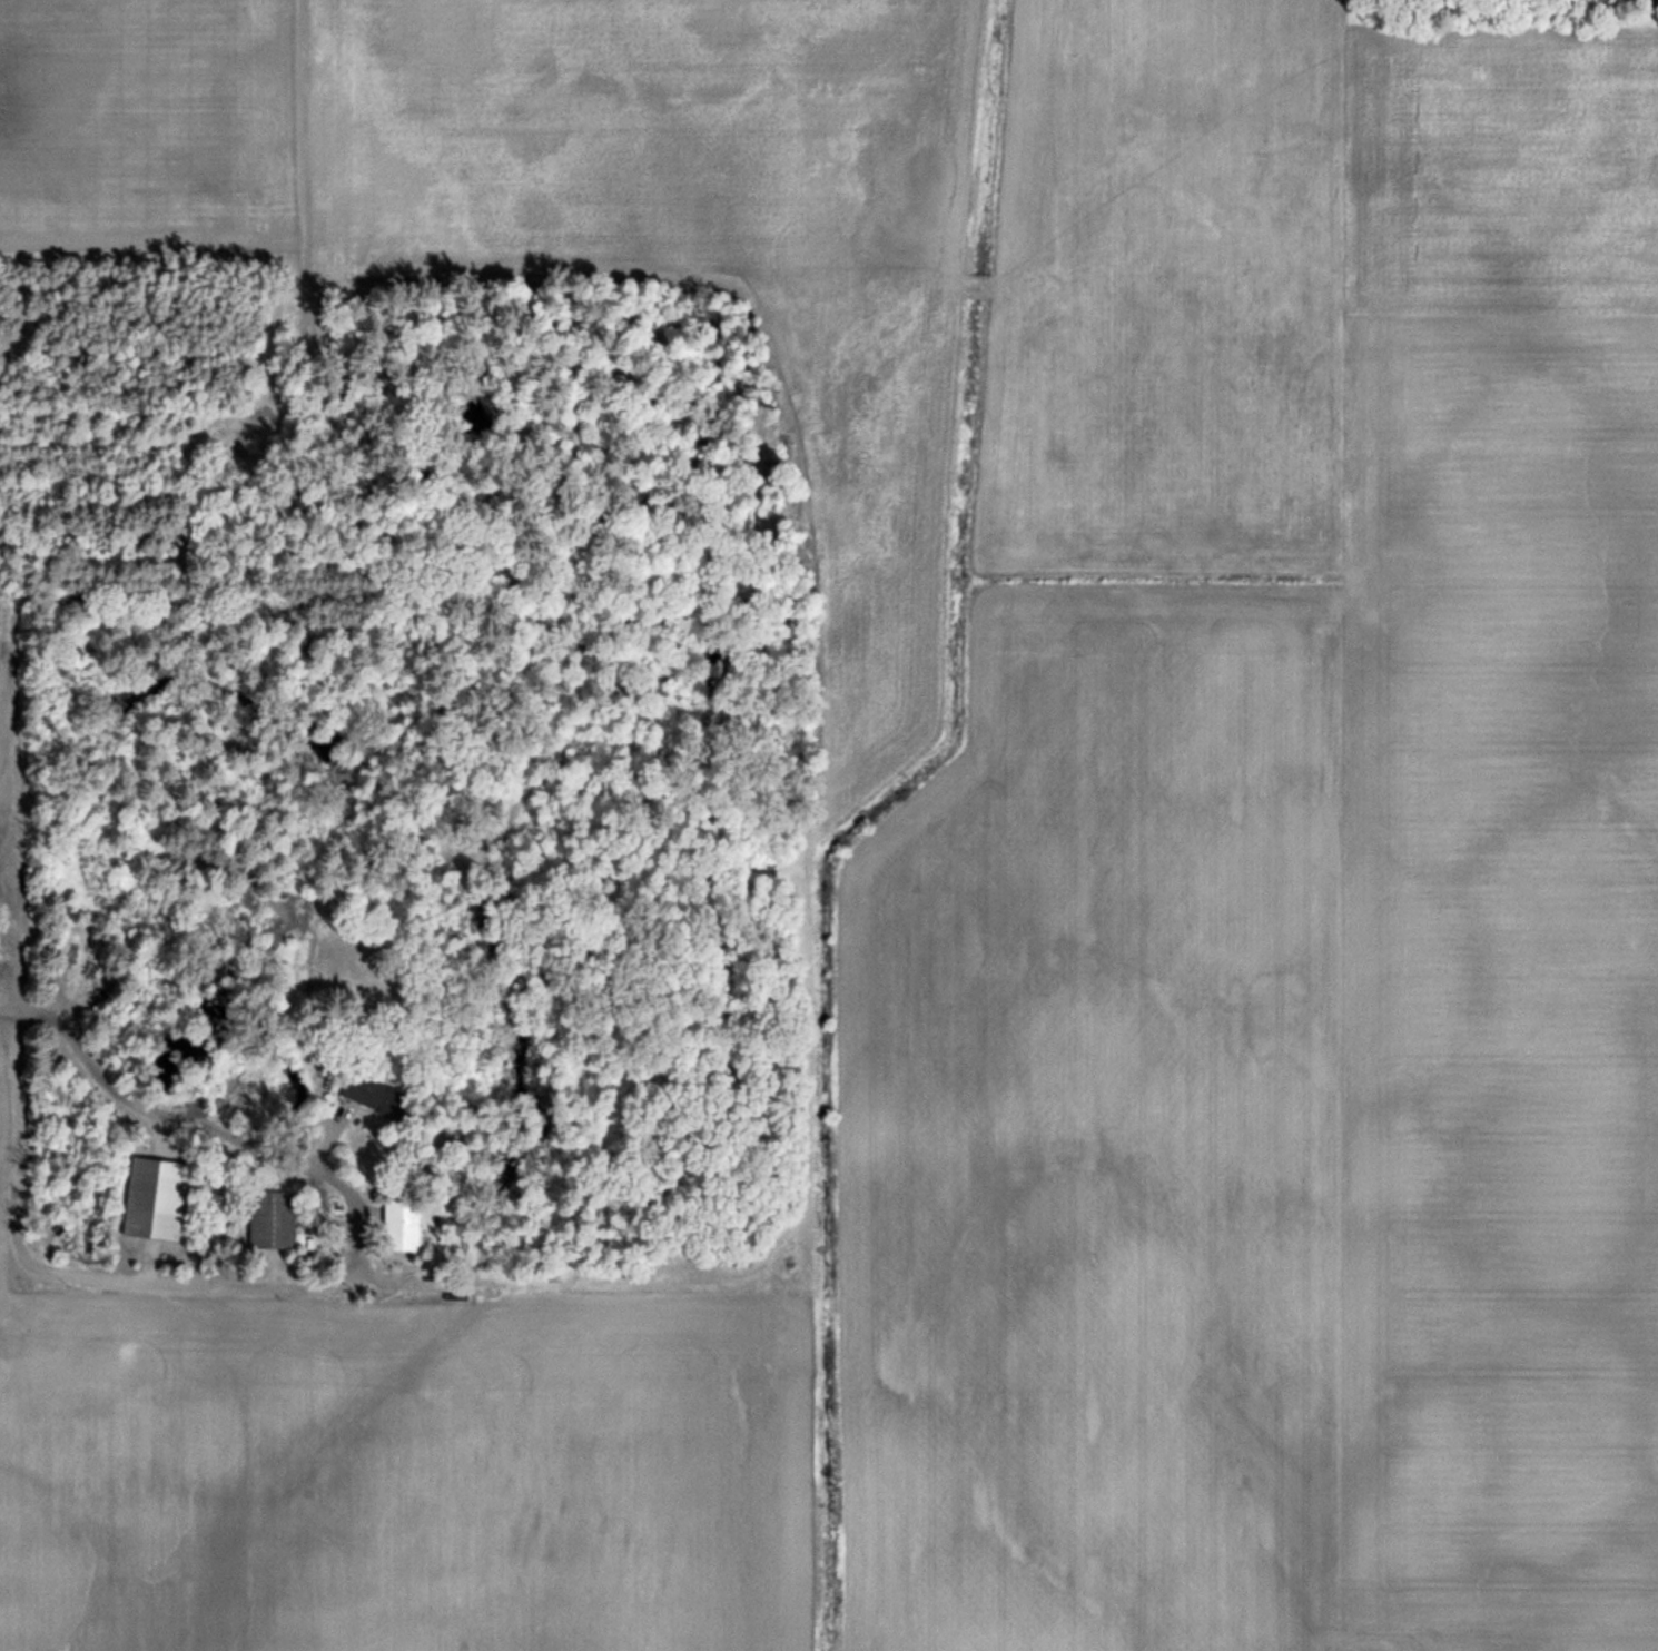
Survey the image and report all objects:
road: (8, 1011)
building: (159, 1198)
building: (277, 1222)
building: (409, 1222)
road: (292, 1292)

